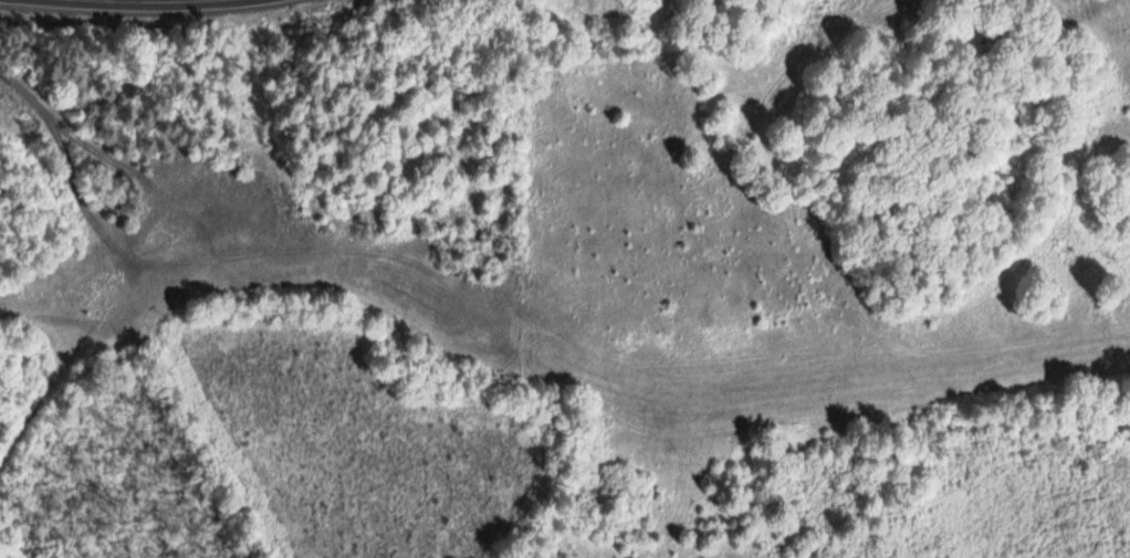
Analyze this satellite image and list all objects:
road: (70, 167)
road: (65, 294)

